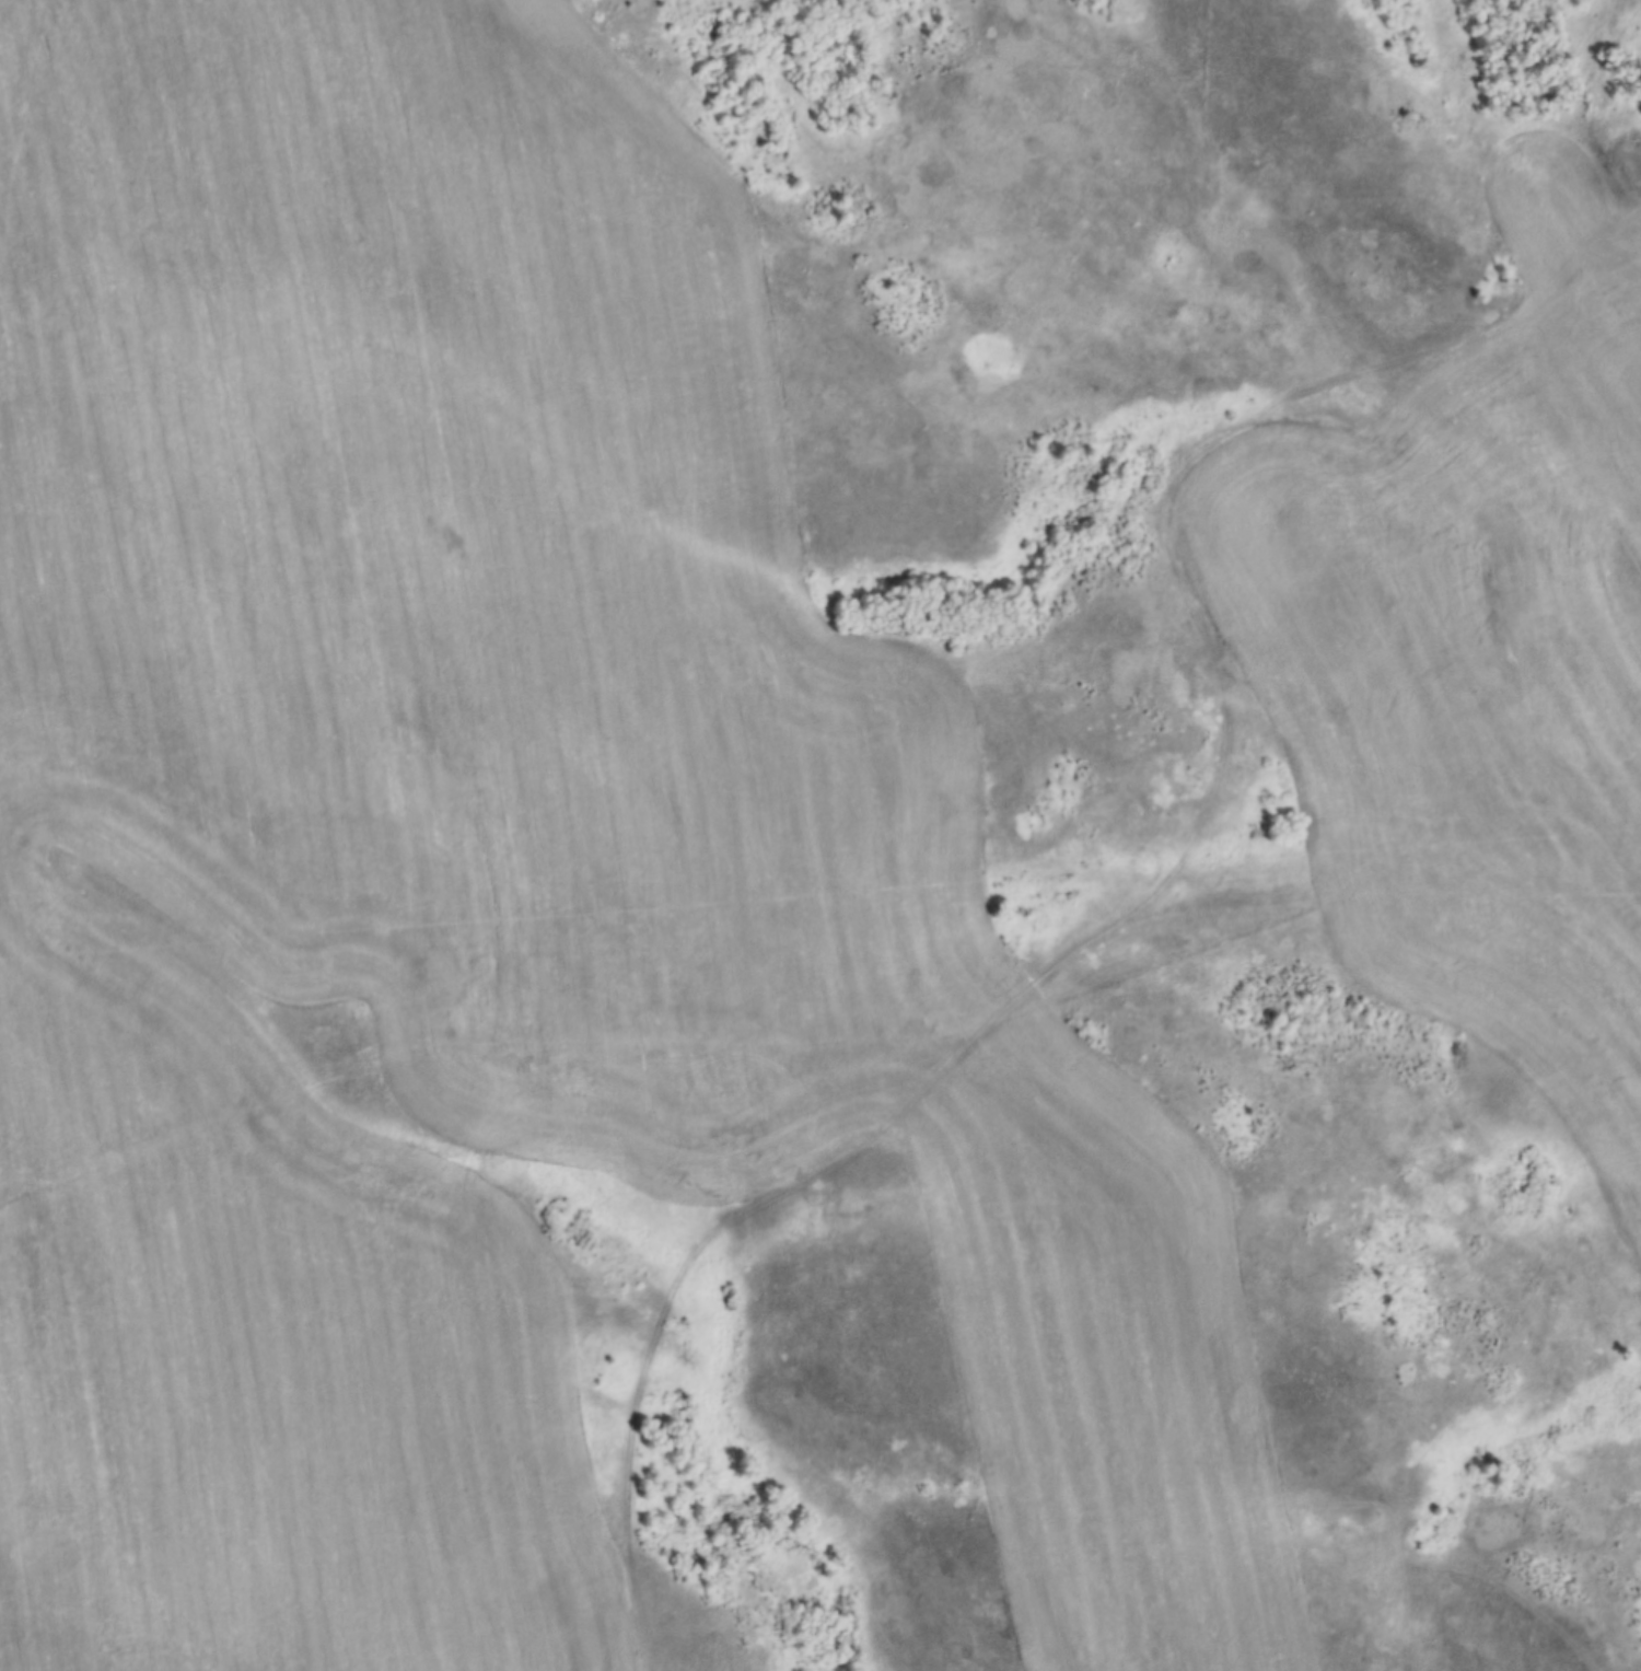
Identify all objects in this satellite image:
road: (1148, 902)

